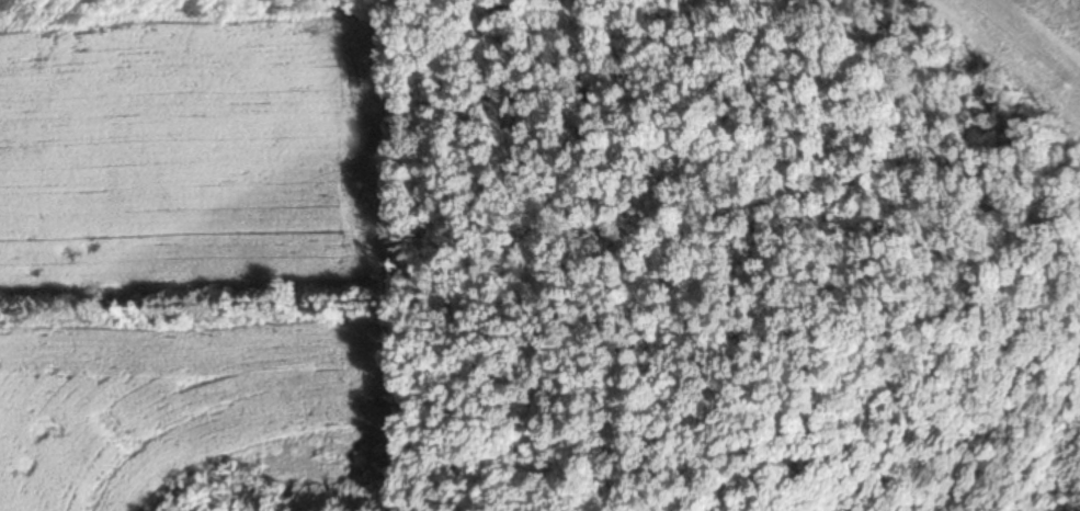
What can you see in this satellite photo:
road: (1046, 26)

